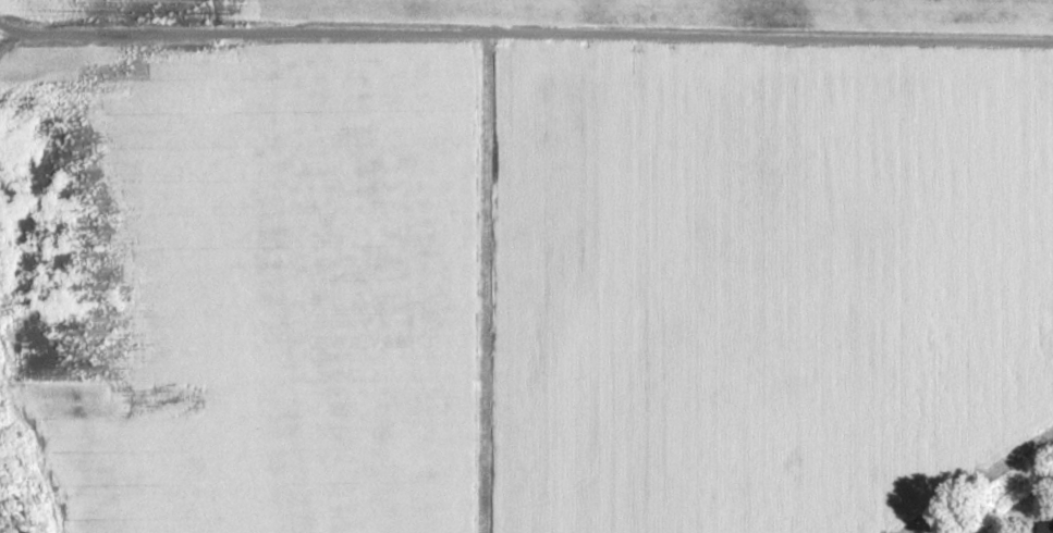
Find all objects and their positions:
road: (517, 33)

